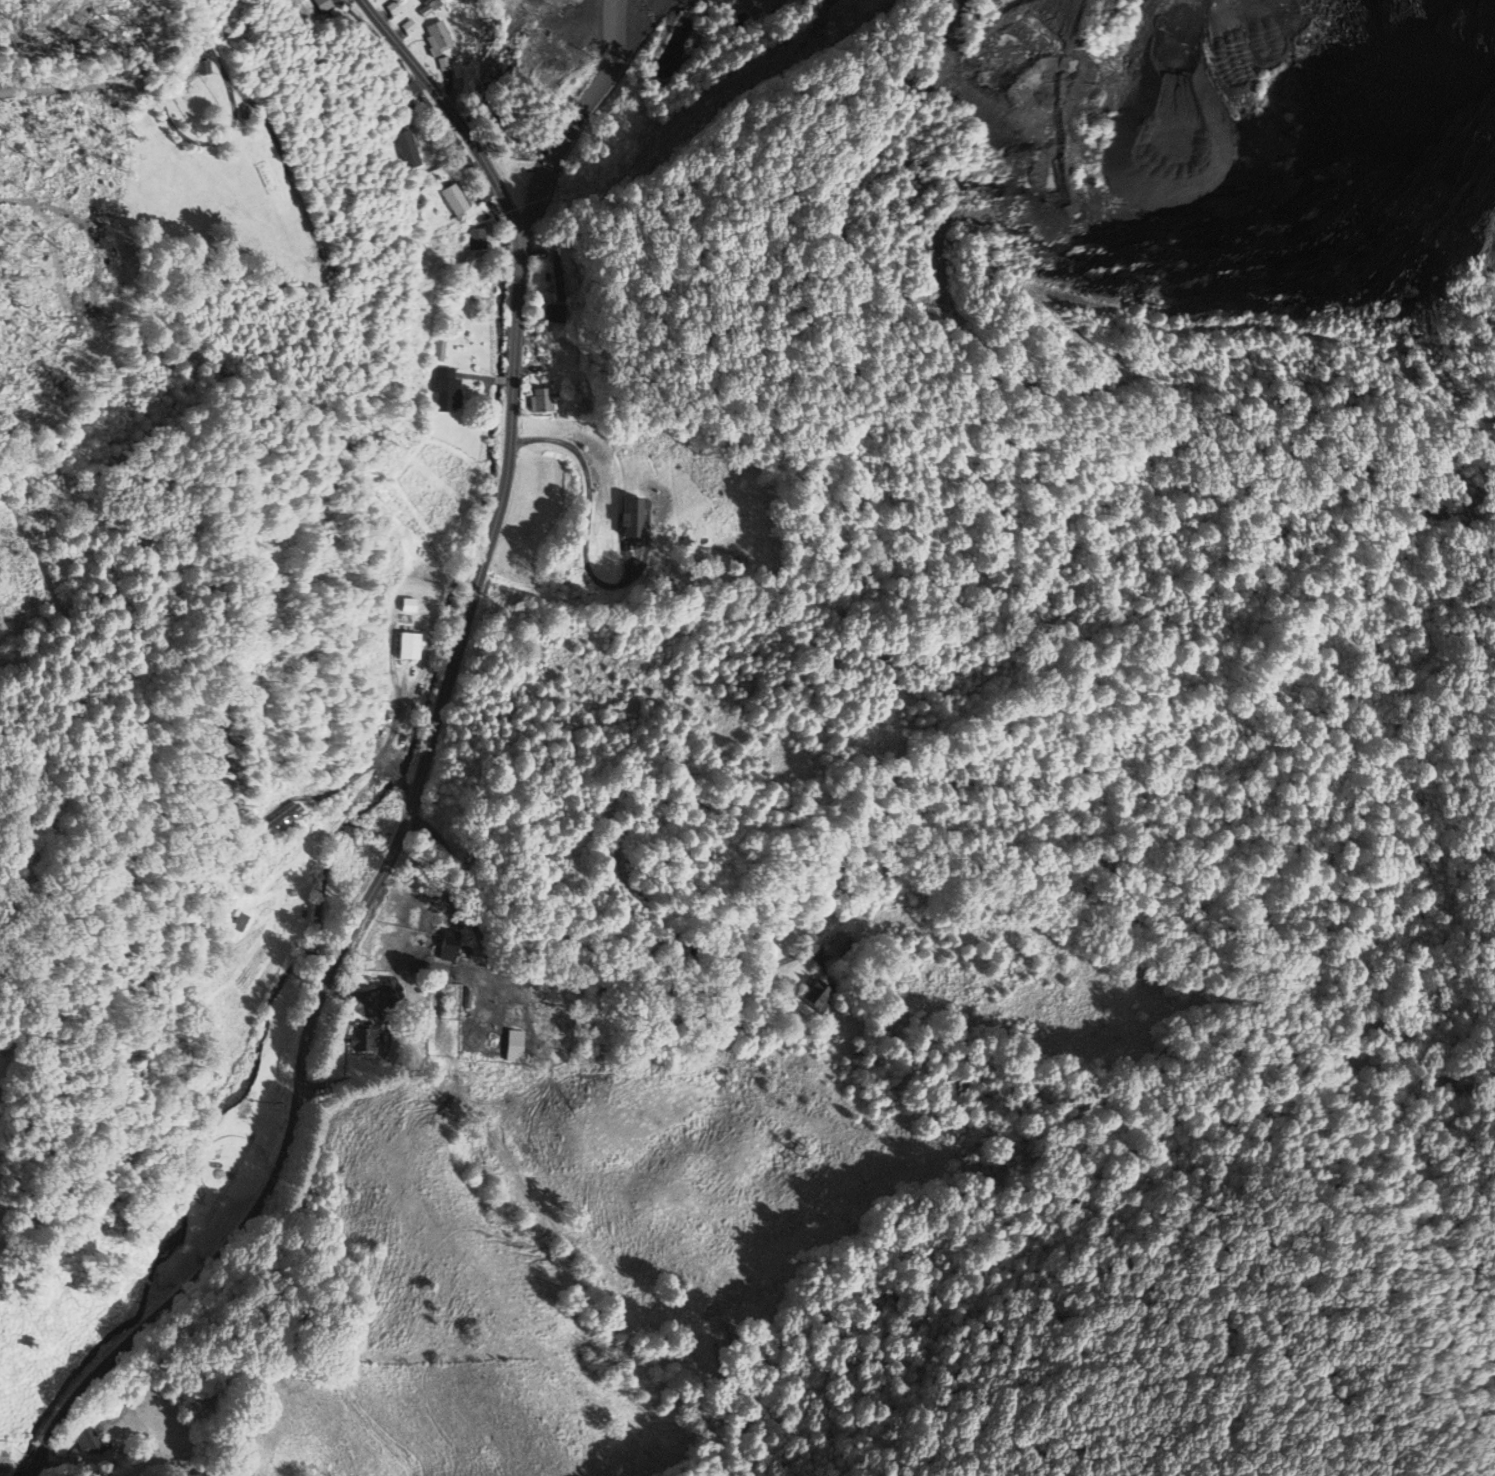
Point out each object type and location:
building: (321, 4)
building: (436, 34)
building: (406, 148)
building: (521, 156)
building: (450, 198)
building: (472, 238)
building: (558, 278)
building: (551, 313)
building: (444, 390)
building: (539, 399)
building: (624, 518)
building: (407, 645)
road: (423, 770)
building: (275, 819)
building: (236, 921)
building: (843, 943)
building: (443, 945)
building: (387, 992)
building: (815, 999)
building: (360, 1039)
building: (83, 1441)
building: (1, 1456)

